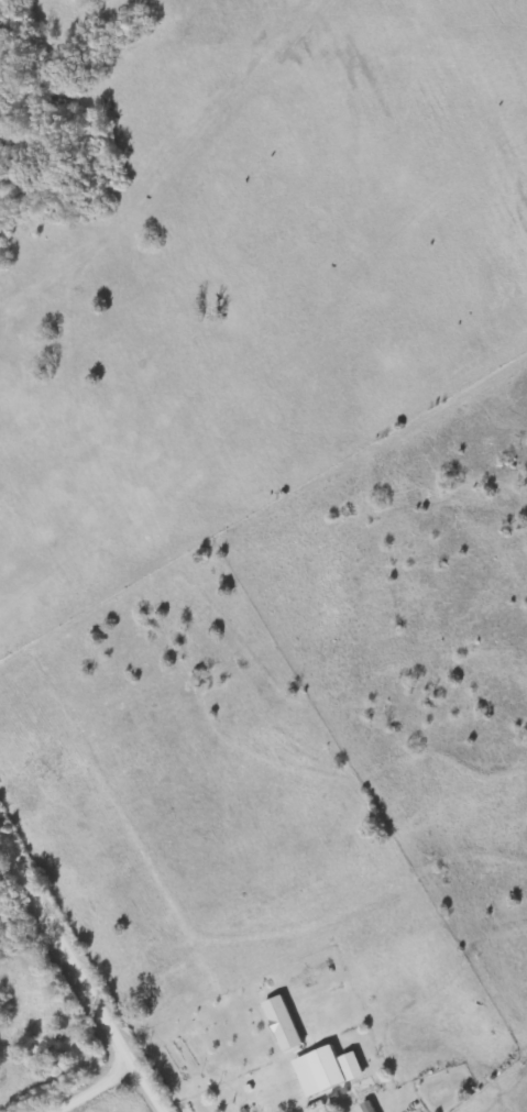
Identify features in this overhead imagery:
road: (65, 950)
building: (284, 1023)
building: (328, 1070)
road: (144, 1089)
road: (86, 1090)
building: (371, 1107)

